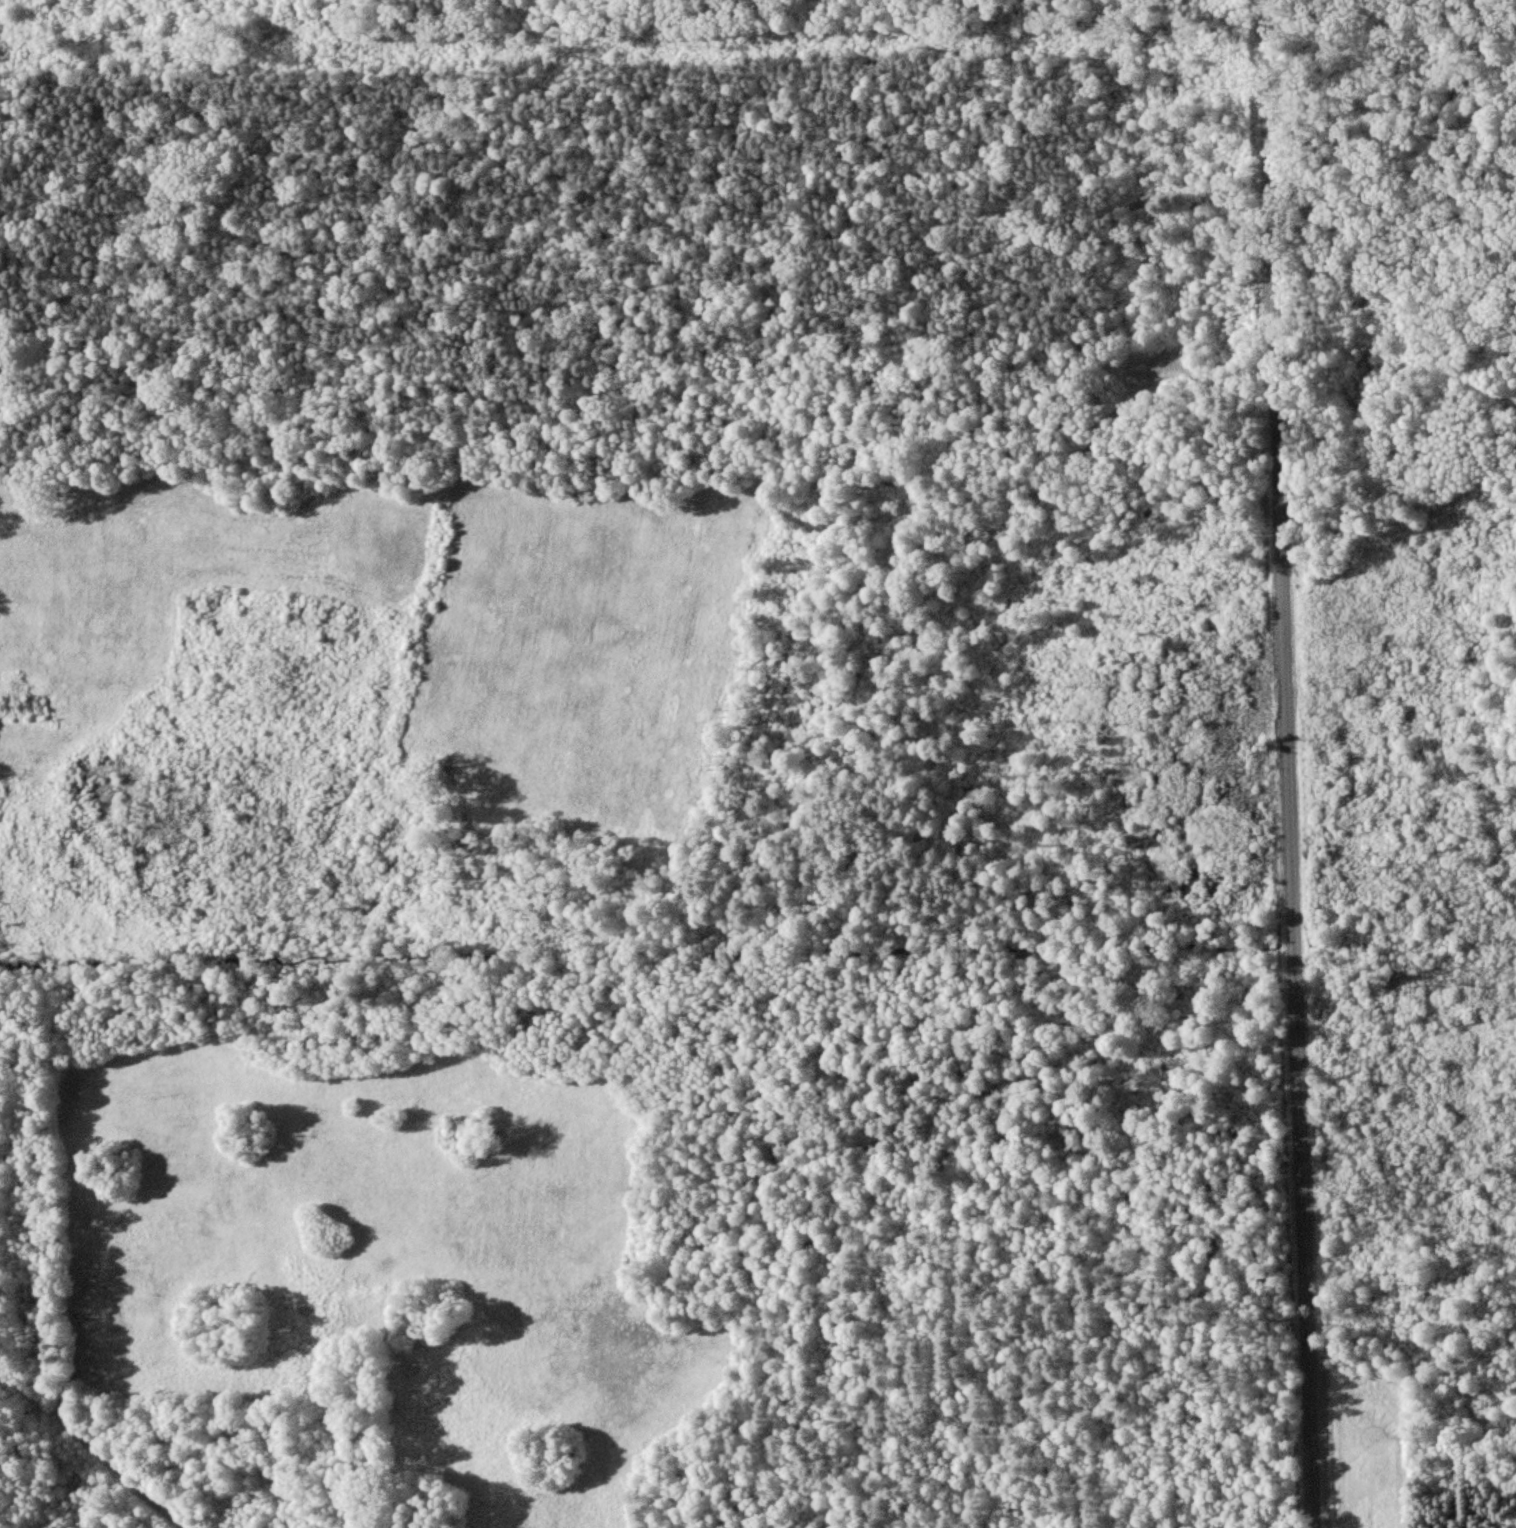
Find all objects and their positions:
road: (1289, 763)

